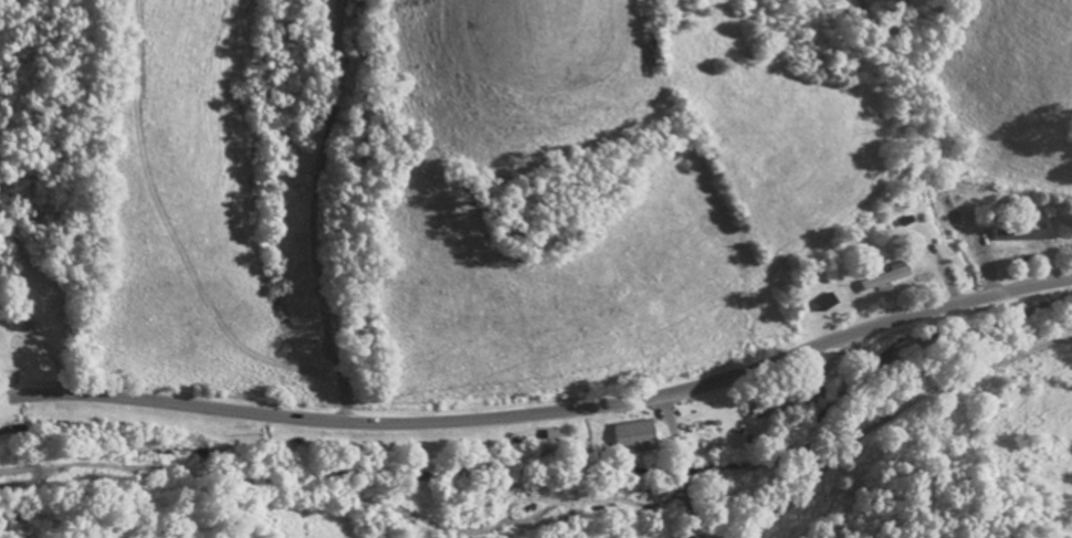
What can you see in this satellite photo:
road: (344, 211)
building: (1017, 255)
building: (890, 277)
building: (828, 303)
building: (774, 410)
road: (544, 413)
building: (638, 435)
road: (659, 470)

